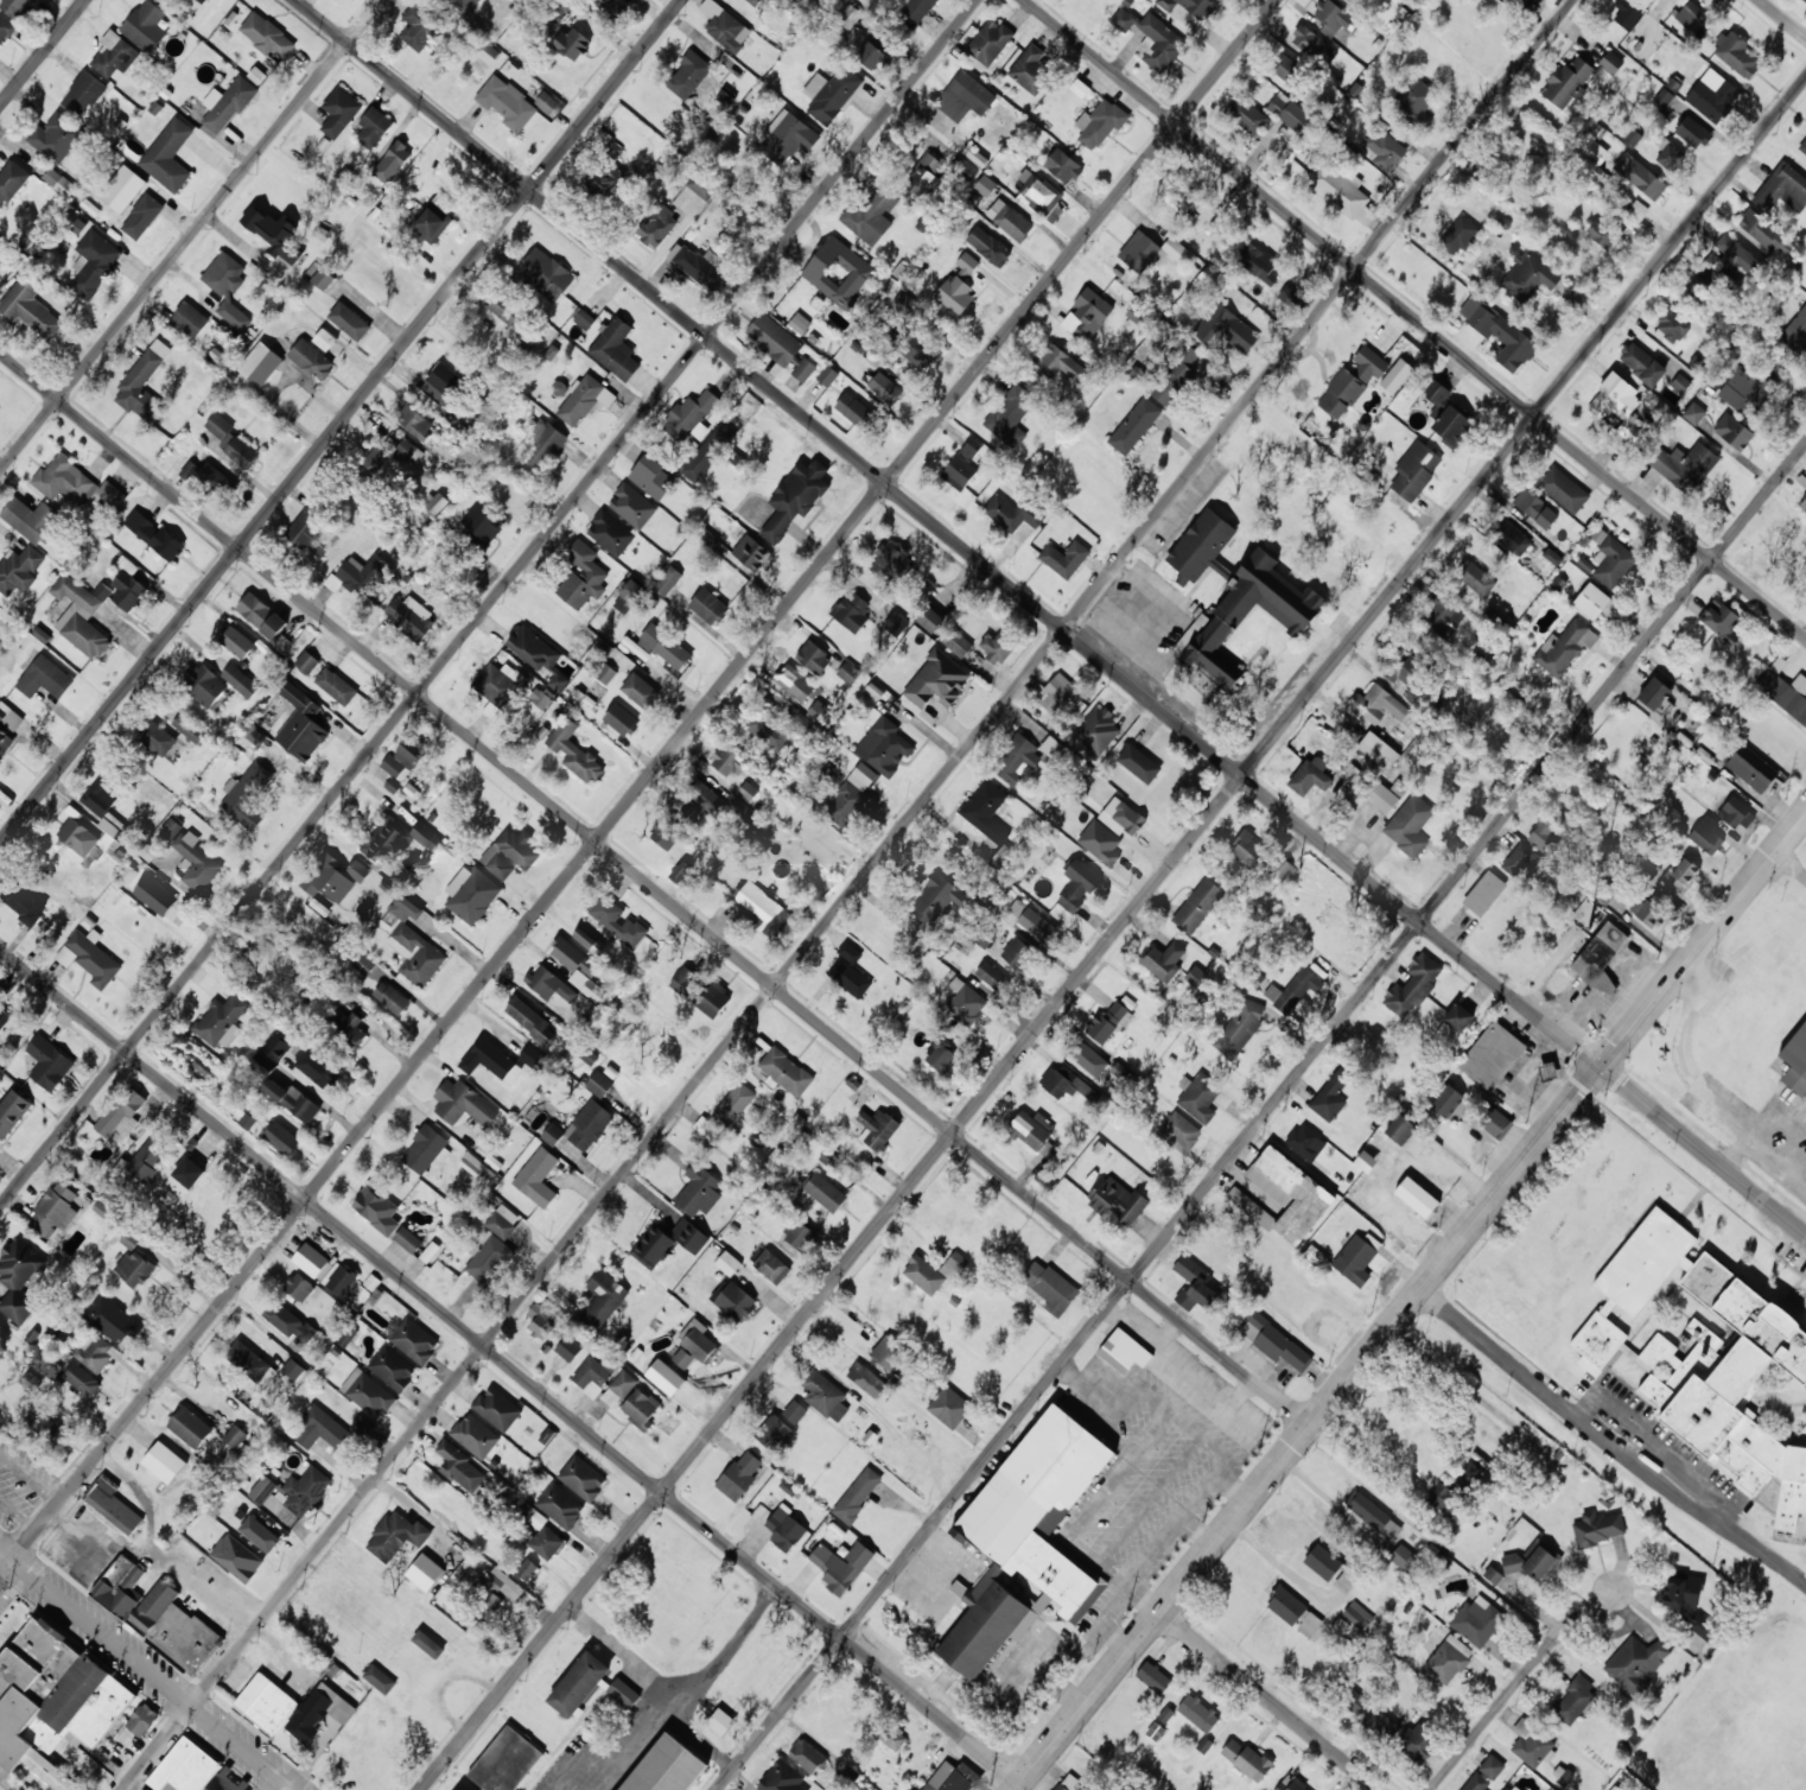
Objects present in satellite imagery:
building: (1805, 0)
building: (201, 1)
building: (753, 1)
building: (1399, 1)
building: (613, 5)
building: (1191, 6)
building: (18, 7)
building: (558, 12)
building: (915, 12)
building: (1689, 12)
building: (1627, 13)
building: (1330, 17)
road: (1783, 18)
building: (145, 25)
building: (418, 26)
building: (725, 26)
building: (5, 27)
building: (266, 34)
building: (1152, 37)
building: (990, 40)
building: (572, 43)
building: (1314, 44)
road: (43, 52)
building: (1736, 53)
building: (114, 55)
building: (871, 56)
building: (1285, 66)
building: (1030, 70)
building: (689, 75)
building: (1577, 77)
building: (83, 94)
building: (831, 94)
building: (1713, 95)
building: (965, 96)
building: (1662, 99)
building: (1416, 101)
building: (505, 102)
building: (548, 102)
building: (227, 103)
building: (339, 112)
building: (1245, 114)
building: (1291, 114)
building: (1100, 122)
building: (374, 127)
building: (1692, 132)
building: (56, 137)
building: (787, 137)
building: (610, 146)
building: (1802, 146)
building: (1594, 148)
building: (1384, 150)
building: (168, 155)
building: (1671, 157)
building: (393, 161)
building: (966, 166)
building: (1062, 166)
building: (924, 173)
building: (1640, 176)
building: (608, 177)
building: (12, 179)
building: (59, 182)
building: (702, 184)
building: (985, 185)
building: (1782, 189)
building: (1340, 190)
building: (1038, 191)
building: (1179, 198)
building: (1628, 204)
building: (142, 216)
building: (871, 216)
building: (433, 220)
building: (1009, 220)
building: (657, 227)
building: (1757, 227)
building: (1605, 229)
building: (273, 230)
road: (190, 235)
building: (1457, 235)
building: (988, 246)
building: (1149, 250)
building: (1258, 262)
building: (94, 264)
building: (698, 264)
building: (1732, 264)
building: (838, 272)
building: (546, 273)
building: (320, 275)
building: (1527, 277)
building: (958, 286)
building: (227, 287)
building: (1290, 296)
building: (907, 305)
building: (30, 309)
building: (507, 311)
building: (1087, 313)
building: (190, 318)
road: (1416, 318)
building: (349, 320)
building: (799, 323)
building: (1671, 325)
building: (1226, 329)
building: (1795, 330)
building: (1499, 332)
building: (325, 338)
building: (774, 338)
building: (909, 342)
building: (615, 348)
building: (311, 358)
building: (1057, 363)
building: (1641, 363)
building: (259, 366)
building: (803, 369)
building: (1174, 374)
building: (827, 375)
building: (142, 382)
building: (443, 382)
building: (1352, 382)
building: (1680, 382)
building: (884, 387)
building: (1742, 391)
building: (1436, 396)
building: (584, 399)
building: (1620, 407)
building: (856, 412)
building: (1693, 412)
building: (692, 414)
building: (1010, 414)
road: (339, 420)
building: (415, 421)
building: (1134, 425)
building: (1451, 425)
building: (1732, 431)
building: (231, 442)
building: (539, 443)
building: (711, 449)
building: (388, 459)
building: (962, 464)
building: (1685, 464)
building: (1416, 469)
building: (209, 476)
building: (653, 477)
building: (65, 480)
building: (1564, 489)
building: (110, 495)
building: (795, 497)
building: (437, 503)
building: (1802, 503)
building: (632, 504)
building: (1535, 507)
building: (1011, 513)
building: (32, 519)
building: (483, 522)
building: (310, 532)
building: (610, 533)
building: (153, 534)
building: (1598, 535)
building: (1511, 538)
building: (1201, 546)
building: (750, 552)
building: (1064, 558)
building: (890, 561)
building: (1613, 561)
building: (19, 569)
building: (361, 573)
building: (583, 576)
building: (1476, 578)
building: (667, 580)
building: (631, 596)
building: (1591, 601)
road: (487, 602)
building: (708, 605)
building: (852, 611)
building: (1441, 614)
building: (261, 615)
building: (78, 616)
building: (1719, 616)
building: (411, 617)
building: (929, 618)
road: (1050, 618)
building: (1215, 623)
building: (895, 626)
building: (236, 641)
building: (281, 642)
building: (956, 642)
building: (998, 645)
building: (663, 646)
building: (532, 647)
building: (1564, 647)
building: (813, 658)
building: (1407, 669)
building: (850, 672)
building: (605, 673)
building: (45, 678)
building: (325, 678)
building: (936, 679)
building: (240, 680)
building: (794, 683)
building: (204, 685)
building: (497, 686)
building: (1785, 690)
building: (640, 691)
building: (1054, 692)
building: (1654, 693)
building: (1378, 704)
building: (621, 719)
building: (300, 724)
building: (8, 725)
building: (778, 726)
building: (189, 728)
building: (1098, 730)
building: (157, 738)
building: (884, 745)
building: (1378, 750)
building: (574, 751)
building: (402, 762)
building: (727, 762)
building: (1017, 762)
building: (1138, 762)
building: (1751, 768)
building: (1311, 775)
road: (636, 787)
building: (748, 792)
building: (246, 795)
building: (705, 795)
building: (1382, 798)
building: (847, 799)
building: (103, 805)
building: (986, 811)
building: (1737, 812)
building: (1121, 817)
building: (673, 825)
building: (1410, 825)
building: (171, 827)
building: (1544, 833)
building: (1706, 834)
building: (77, 839)
building: (396, 839)
building: (1100, 842)
building: (509, 852)
building: (1258, 855)
building: (1004, 857)
building: (196, 862)
building: (1521, 862)
building: (358, 870)
building: (682, 872)
building: (1679, 875)
building: (329, 878)
building: (1079, 884)
road: (654, 888)
building: (1484, 893)
building: (471, 894)
building: (155, 895)
road: (846, 895)
building: (937, 899)
building: (26, 906)
building: (1197, 906)
building: (761, 907)
building: (1646, 910)
building: (1032, 920)
building: (618, 921)
road: (1112, 933)
building: (985, 937)
building: (587, 940)
building: (414, 945)
building: (1017, 952)
building: (90, 957)
building: (1600, 957)
building: (1164, 960)
building: (364, 964)
building: (579, 969)
building: (850, 971)
building: (992, 975)
building: (1195, 976)
building: (549, 983)
building: (1413, 985)
building: (1291, 990)
building: (701, 992)
building: (392, 997)
building: (966, 1002)
building: (1458, 1017)
building: (221, 1021)
building: (532, 1021)
building: (945, 1021)
building: (1108, 1022)
building: (1239, 1027)
building: (351, 1032)
building: (276, 1046)
building: (940, 1054)
building: (1492, 1055)
building: (532, 1056)
building: (1087, 1058)
building: (491, 1060)
building: (1795, 1061)
building: (49, 1062)
building: (262, 1065)
building: (316, 1067)
building: (1547, 1071)
building: (786, 1072)
building: (599, 1084)
building: (1066, 1084)
building: (1198, 1096)
building: (1329, 1097)
building: (293, 1100)
building: (1446, 1100)
building: (735, 1103)
building: (464, 1104)
building: (12, 1110)
building: (122, 1112)
road: (1261, 1116)
building: (589, 1124)
building: (706, 1126)
building: (877, 1128)
building: (1031, 1129)
building: (1400, 1129)
building: (1178, 1131)
building: (552, 1134)
building: (281, 1137)
building: (1306, 1141)
building: (424, 1149)
building: (148, 1157)
building: (1366, 1161)
building: (472, 1164)
building: (189, 1172)
building: (538, 1176)
building: (1047, 1179)
building: (699, 1191)
building: (822, 1193)
building: (1284, 1195)
building: (1417, 1196)
building: (1118, 1201)
building: (377, 1210)
building: (55, 1211)
building: (502, 1221)
building: (689, 1234)
building: (800, 1236)
building: (131, 1239)
building: (408, 1239)
building: (653, 1246)
building: (431, 1251)
building: (488, 1257)
building: (1355, 1259)
building: (312, 1261)
building: (1645, 1262)
building: (727, 1263)
building: (771, 1265)
building: (954, 1265)
building: (134, 1268)
building: (924, 1274)
building: (19, 1278)
building: (342, 1280)
building: (1194, 1283)
building: (1214, 1283)
building: (299, 1287)
building: (1050, 1287)
building: (603, 1297)
building: (733, 1300)
road: (1410, 1300)
building: (112, 1319)
building: (540, 1320)
building: (287, 1321)
building: (1705, 1335)
building: (414, 1340)
building: (1274, 1341)
building: (1597, 1343)
building: (695, 1345)
building: (568, 1348)
building: (1121, 1350)
building: (886, 1351)
building: (40, 1359)
building: (248, 1360)
road: (508, 1365)
building: (392, 1367)
building: (293, 1369)
building: (594, 1373)
building: (82, 1379)
building: (867, 1379)
building: (1731, 1386)
building: (618, 1388)
building: (367, 1392)
building: (825, 1395)
building: (949, 1407)
building: (497, 1408)
building: (640, 1408)
building: (795, 1411)
building: (47, 1427)
building: (190, 1427)
building: (319, 1429)
building: (774, 1433)
building: (234, 1435)
building: (475, 1435)
building: (164, 1462)
building: (460, 1466)
building: (739, 1475)
building: (583, 1478)
building: (262, 1489)
building: (304, 1491)
building: (857, 1494)
building: (1444, 1500)
building: (113, 1505)
building: (560, 1505)
building: (1367, 1510)
building: (784, 1526)
building: (1598, 1528)
building: (259, 1532)
building: (542, 1535)
building: (396, 1536)
building: (1025, 1541)
building: (1404, 1556)
building: (237, 1557)
building: (1323, 1561)
building: (841, 1564)
building: (527, 1569)
building: (425, 1572)
building: (1493, 1575)
building: (1346, 1581)
building: (121, 1586)
building: (497, 1592)
building: (1687, 1602)
building: (1295, 1612)
building: (1357, 1614)
building: (1477, 1619)
building: (173, 1629)
building: (428, 1644)
building: (1449, 1658)
building: (1636, 1663)
road: (1527, 1665)
road: (146, 1670)
building: (1153, 1677)
building: (379, 1678)
building: (579, 1683)
building: (623, 1693)
road: (1270, 1699)
building: (1573, 1699)
building: (1354, 1701)
building: (52, 1702)
building: (266, 1702)
building: (318, 1710)
building: (1197, 1713)
building: (142, 1719)
building: (720, 1721)
building: (1380, 1722)
building: (894, 1737)
building: (1416, 1743)
building: (1532, 1744)
building: (807, 1756)
building: (1246, 1758)
building: (505, 1762)
building: (664, 1766)
building: (1492, 1766)
building: (185, 1767)
building: (950, 1777)
building: (782, 1778)
building: (229, 1782)
building: (1067, 1782)
building: (1476, 1782)
building: (1290, 1784)
building: (1512, 1788)
building: (908, 1789)

